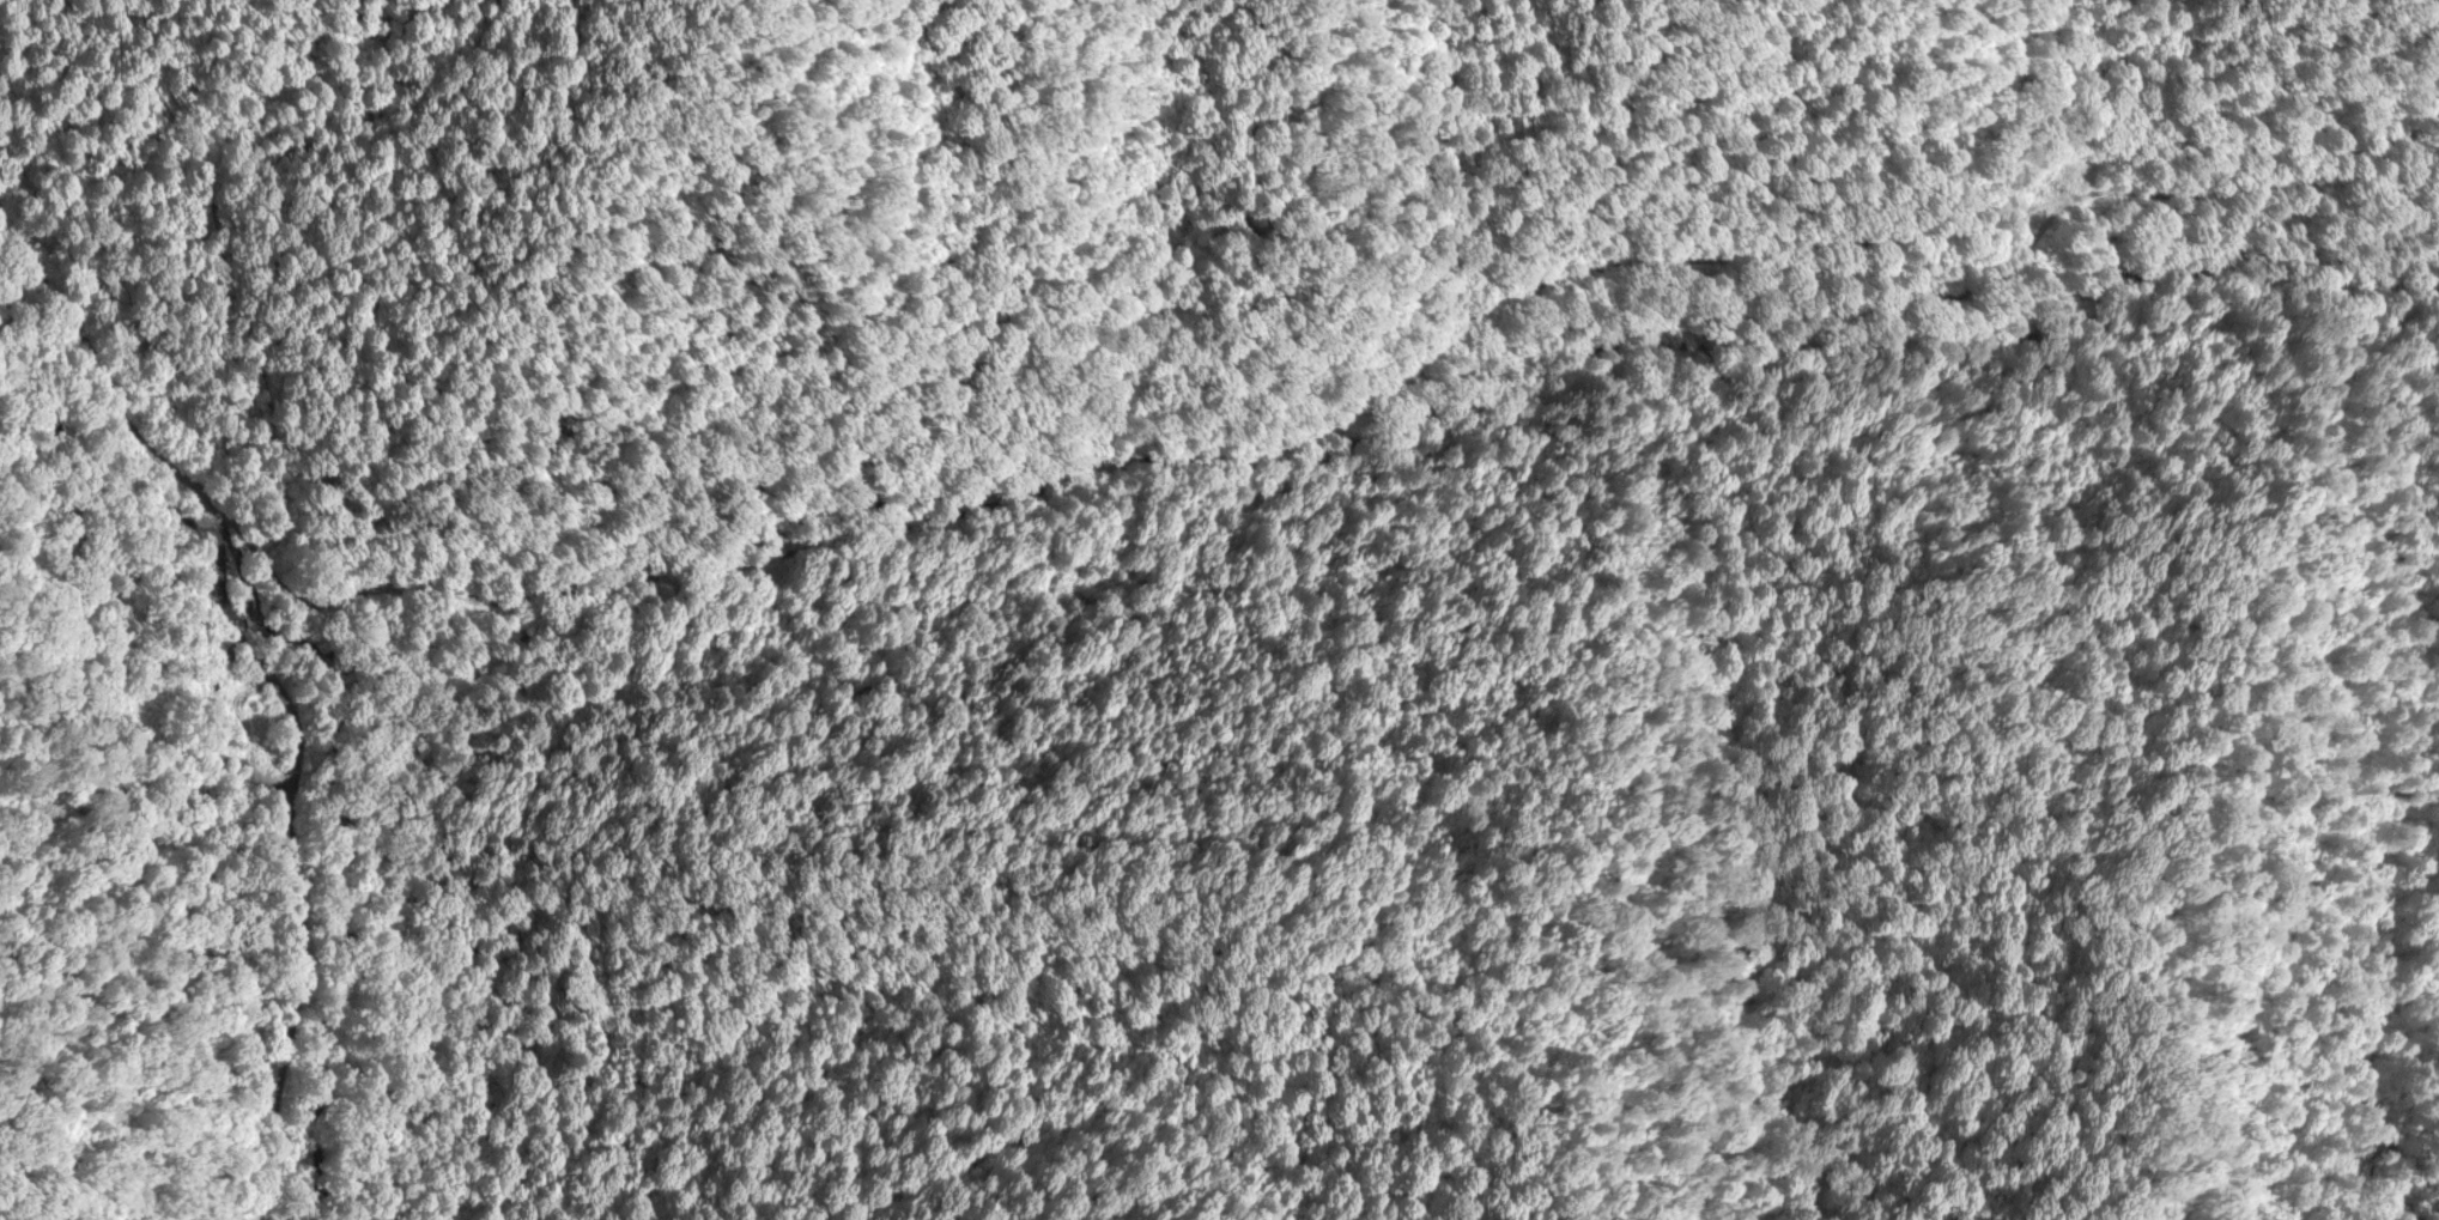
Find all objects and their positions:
road: (85, 320)

